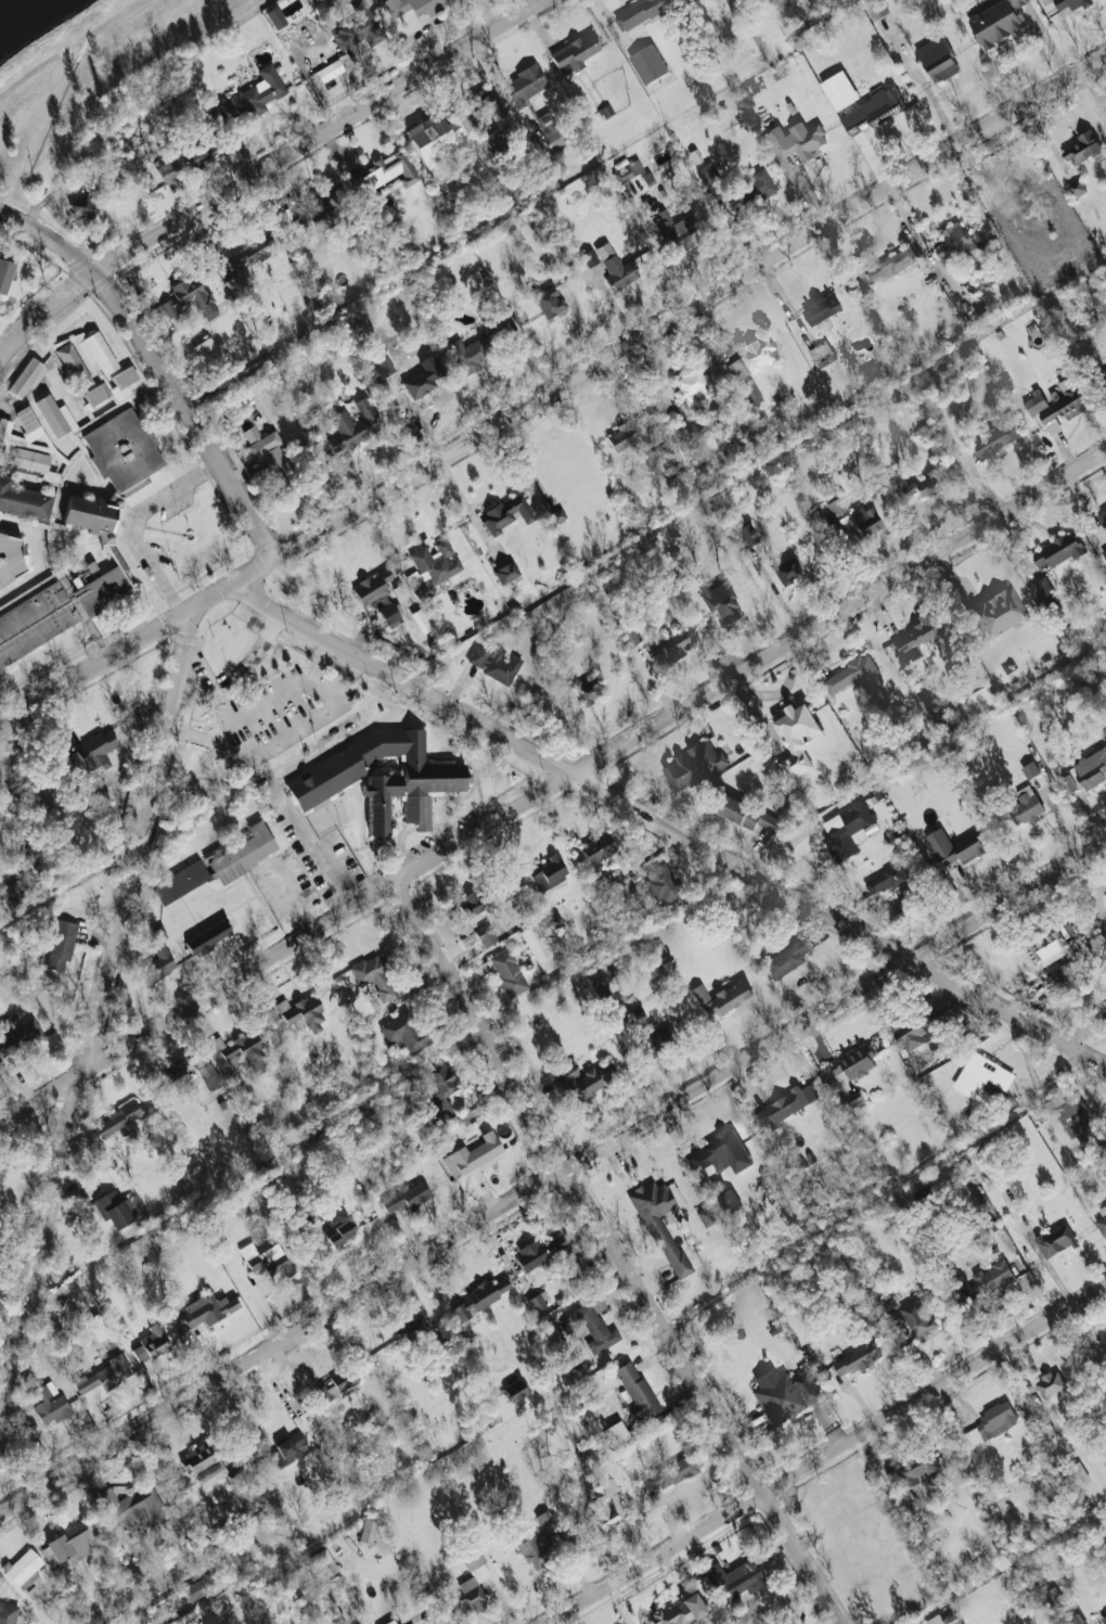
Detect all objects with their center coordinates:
building: (1070, 3)
building: (412, 7)
building: (323, 9)
building: (640, 12)
river: (22, 13)
building: (999, 22)
building: (358, 28)
building: (575, 53)
building: (937, 59)
building: (648, 64)
building: (525, 84)
building: (839, 90)
building: (256, 94)
road: (933, 101)
building: (480, 104)
building: (873, 111)
road: (266, 119)
building: (458, 124)
building: (550, 130)
building: (430, 139)
building: (797, 140)
building: (494, 142)
building: (1082, 149)
building: (202, 153)
road: (265, 169)
building: (168, 170)
building: (386, 171)
building: (628, 171)
building: (707, 172)
building: (750, 190)
building: (323, 208)
building: (81, 209)
road: (912, 226)
building: (678, 230)
building: (954, 243)
building: (249, 252)
building: (589, 257)
building: (891, 264)
building: (616, 267)
building: (4, 274)
building: (194, 294)
building: (549, 302)
building: (170, 307)
building: (821, 309)
building: (206, 351)
building: (468, 354)
building: (822, 354)
building: (757, 355)
building: (85, 356)
road: (158, 365)
building: (383, 365)
building: (1104, 372)
building: (870, 373)
building: (740, 375)
building: (26, 378)
building: (423, 378)
building: (123, 382)
building: (693, 387)
road: (553, 389)
building: (97, 394)
building: (1034, 404)
building: (1063, 407)
building: (55, 415)
building: (353, 425)
building: (26, 426)
building: (685, 430)
building: (3, 432)
building: (629, 435)
building: (993, 437)
building: (269, 456)
building: (30, 460)
building: (50, 477)
building: (835, 507)
building: (506, 514)
building: (557, 514)
building: (1103, 519)
building: (864, 520)
road: (132, 522)
road: (159, 529)
building: (746, 535)
building: (106, 541)
building: (1058, 550)
building: (1104, 552)
building: (11, 559)
building: (436, 561)
building: (786, 571)
building: (505, 572)
building: (372, 587)
building: (420, 590)
building: (1042, 590)
building: (719, 600)
building: (996, 612)
building: (391, 615)
building: (628, 632)
building: (916, 636)
building: (670, 643)
road: (257, 653)
building: (494, 664)
building: (850, 674)
building: (589, 690)
road: (261, 706)
building: (927, 708)
building: (797, 737)
building: (97, 751)
building: (694, 766)
building: (1092, 768)
building: (1030, 770)
building: (325, 777)
road: (274, 778)
building: (1067, 784)
road: (553, 789)
building: (380, 800)
building: (1025, 806)
building: (744, 813)
road: (669, 826)
road: (423, 828)
building: (847, 831)
road: (451, 832)
building: (953, 847)
road: (402, 848)
building: (597, 849)
building: (243, 853)
building: (546, 873)
building: (886, 880)
building: (181, 882)
building: (661, 883)
building: (14, 896)
road: (297, 898)
building: (473, 904)
building: (552, 922)
building: (480, 936)
building: (208, 937)
building: (61, 944)
building: (539, 948)
building: (1045, 950)
building: (660, 954)
building: (788, 957)
building: (159, 962)
building: (509, 973)
building: (374, 976)
building: (597, 985)
building: (721, 997)
building: (1105, 1005)
building: (633, 1011)
building: (301, 1012)
road: (98, 1014)
building: (403, 1031)
building: (916, 1033)
building: (17, 1035)
building: (654, 1039)
building: (240, 1051)
building: (195, 1067)
building: (853, 1071)
building: (440, 1079)
building: (584, 1080)
power tower: (1040, 1100)
building: (786, 1105)
building: (439, 1112)
building: (120, 1121)
building: (1078, 1124)
building: (720, 1153)
building: (473, 1161)
road: (552, 1176)
building: (724, 1195)
building: (408, 1197)
building: (118, 1207)
building: (705, 1215)
building: (659, 1224)
building: (1102, 1225)
building: (339, 1233)
building: (1055, 1241)
power tower: (800, 1246)
building: (538, 1251)
road: (619, 1254)
building: (268, 1263)
building: (985, 1280)
building: (479, 1297)
building: (535, 1303)
building: (205, 1309)
building: (917, 1318)
building: (594, 1325)
building: (410, 1327)
building: (1105, 1339)
building: (151, 1344)
building: (857, 1359)
building: (103, 1379)
building: (337, 1383)
building: (1050, 1383)
building: (514, 1391)
building: (636, 1391)
building: (784, 1393)
power tower: (549, 1398)
building: (49, 1404)
building: (992, 1423)
building: (287, 1449)
road: (828, 1455)
building: (208, 1466)
building: (1080, 1472)
building: (671, 1473)
building: (911, 1480)
building: (137, 1507)
building: (602, 1513)
building: (545, 1521)
building: (366, 1531)
building: (66, 1545)
power tower: (290, 1552)
building: (229, 1560)
building: (325, 1563)
building: (743, 1580)
building: (471, 1581)
building: (704, 1585)
building: (193, 1590)
building: (680, 1611)
building: (9, 1613)
building: (942, 1619)
building: (1076, 1619)
building: (1104, 1620)

